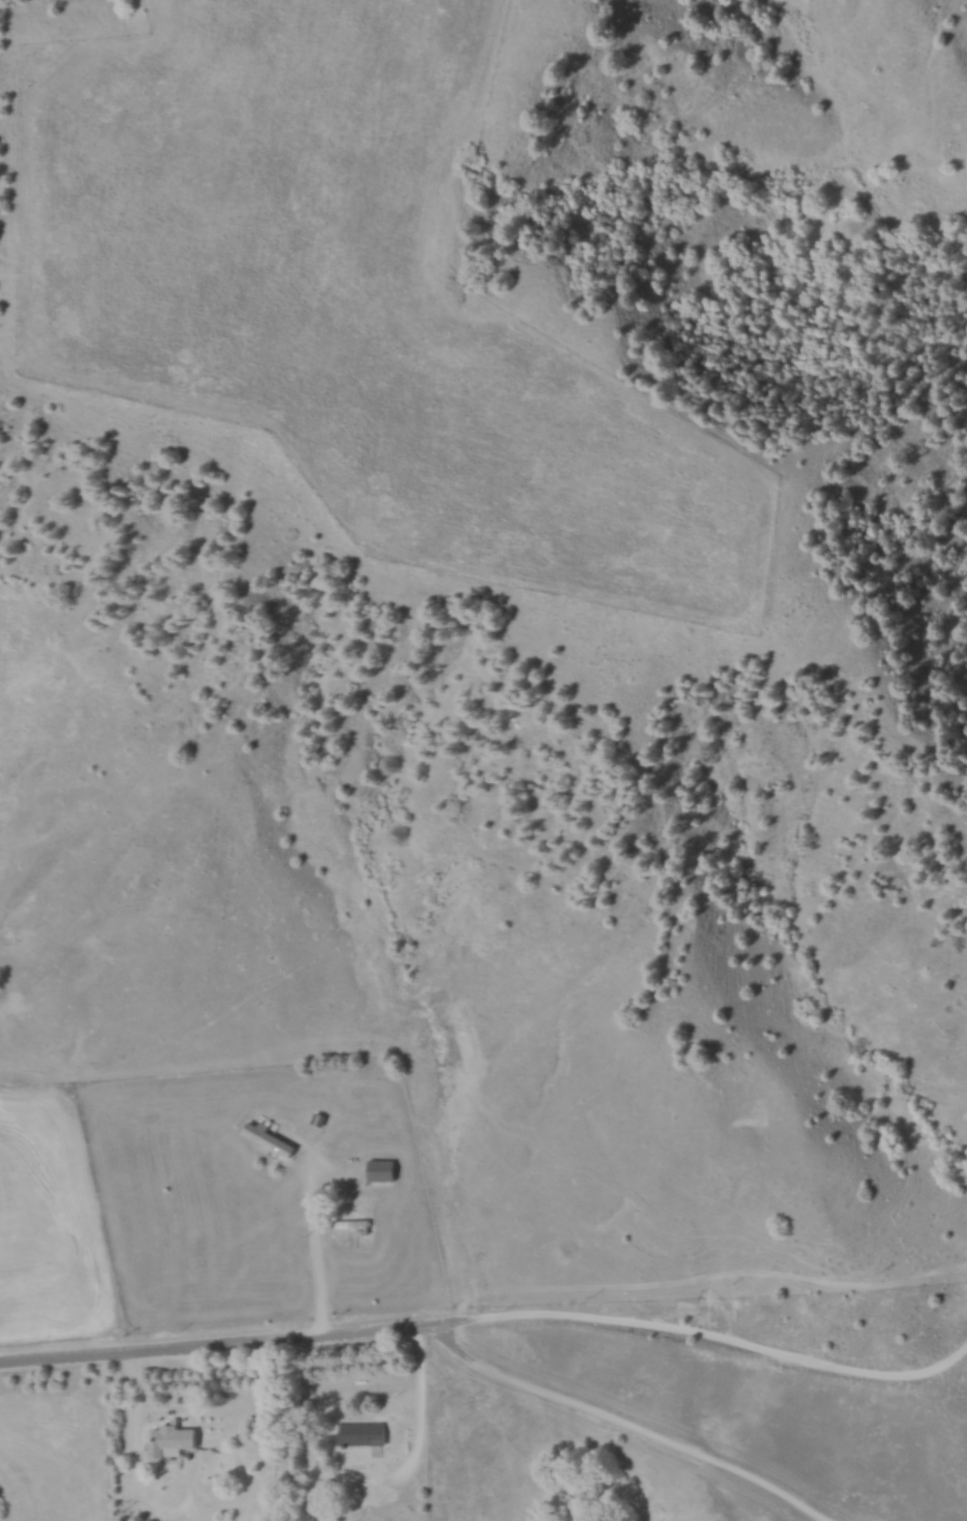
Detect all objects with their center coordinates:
building: (272, 1137)
building: (386, 1169)
building: (359, 1225)
road: (308, 1231)
road: (707, 1345)
road: (218, 1346)
road: (621, 1429)
building: (367, 1432)
road: (417, 1435)
building: (175, 1439)
road: (141, 1469)

